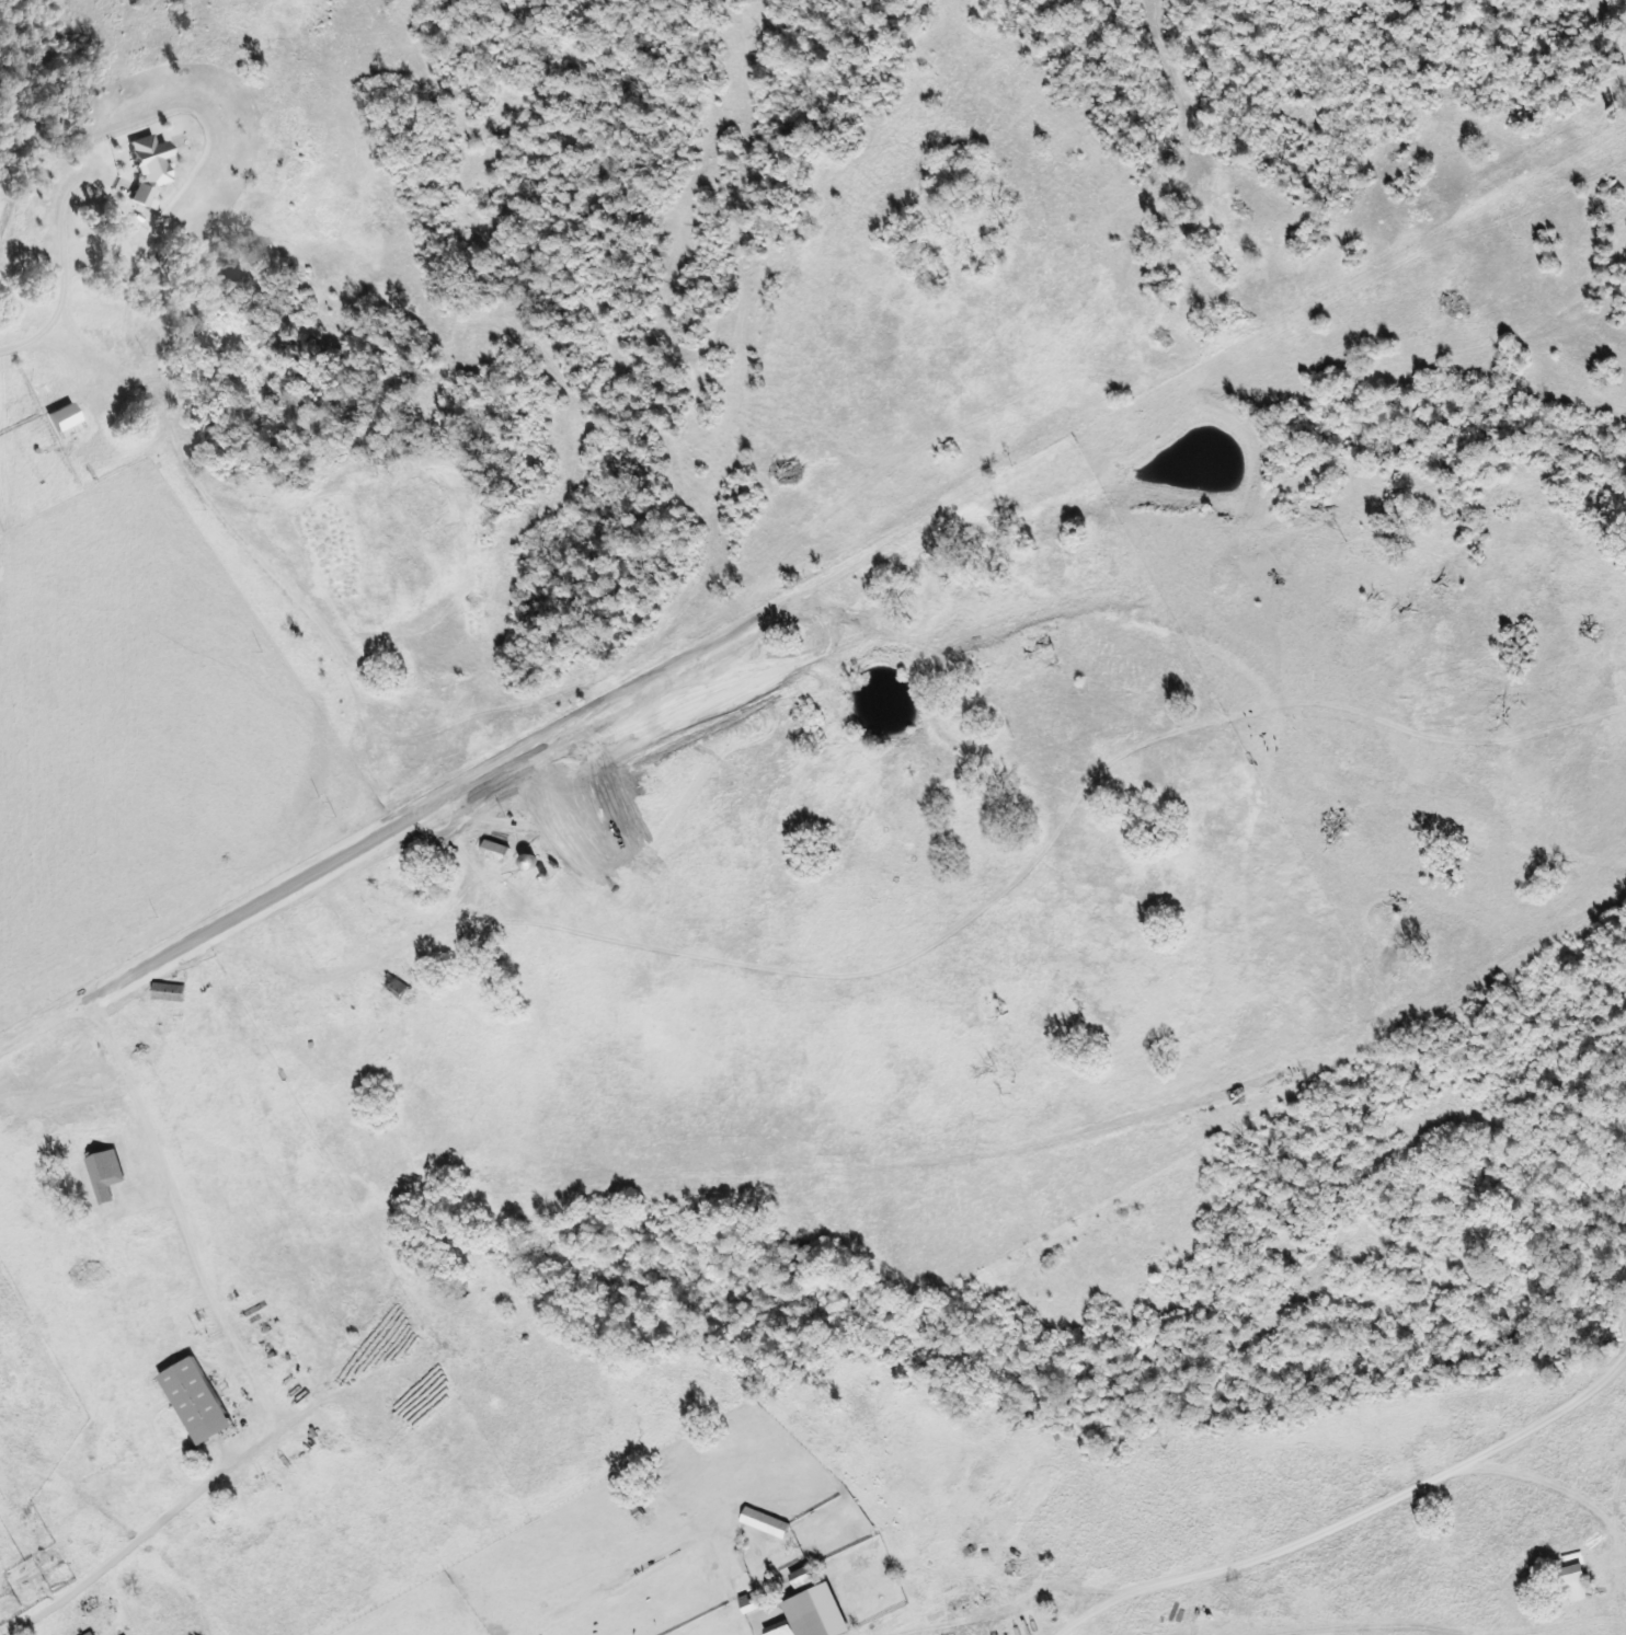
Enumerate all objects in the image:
building: (502, 853)
building: (536, 864)
building: (153, 991)
road: (405, 1127)
road: (1035, 1141)
building: (203, 1402)
road: (1358, 1518)
building: (752, 1522)
building: (1566, 1584)
building: (793, 1609)
building: (96, 1634)

